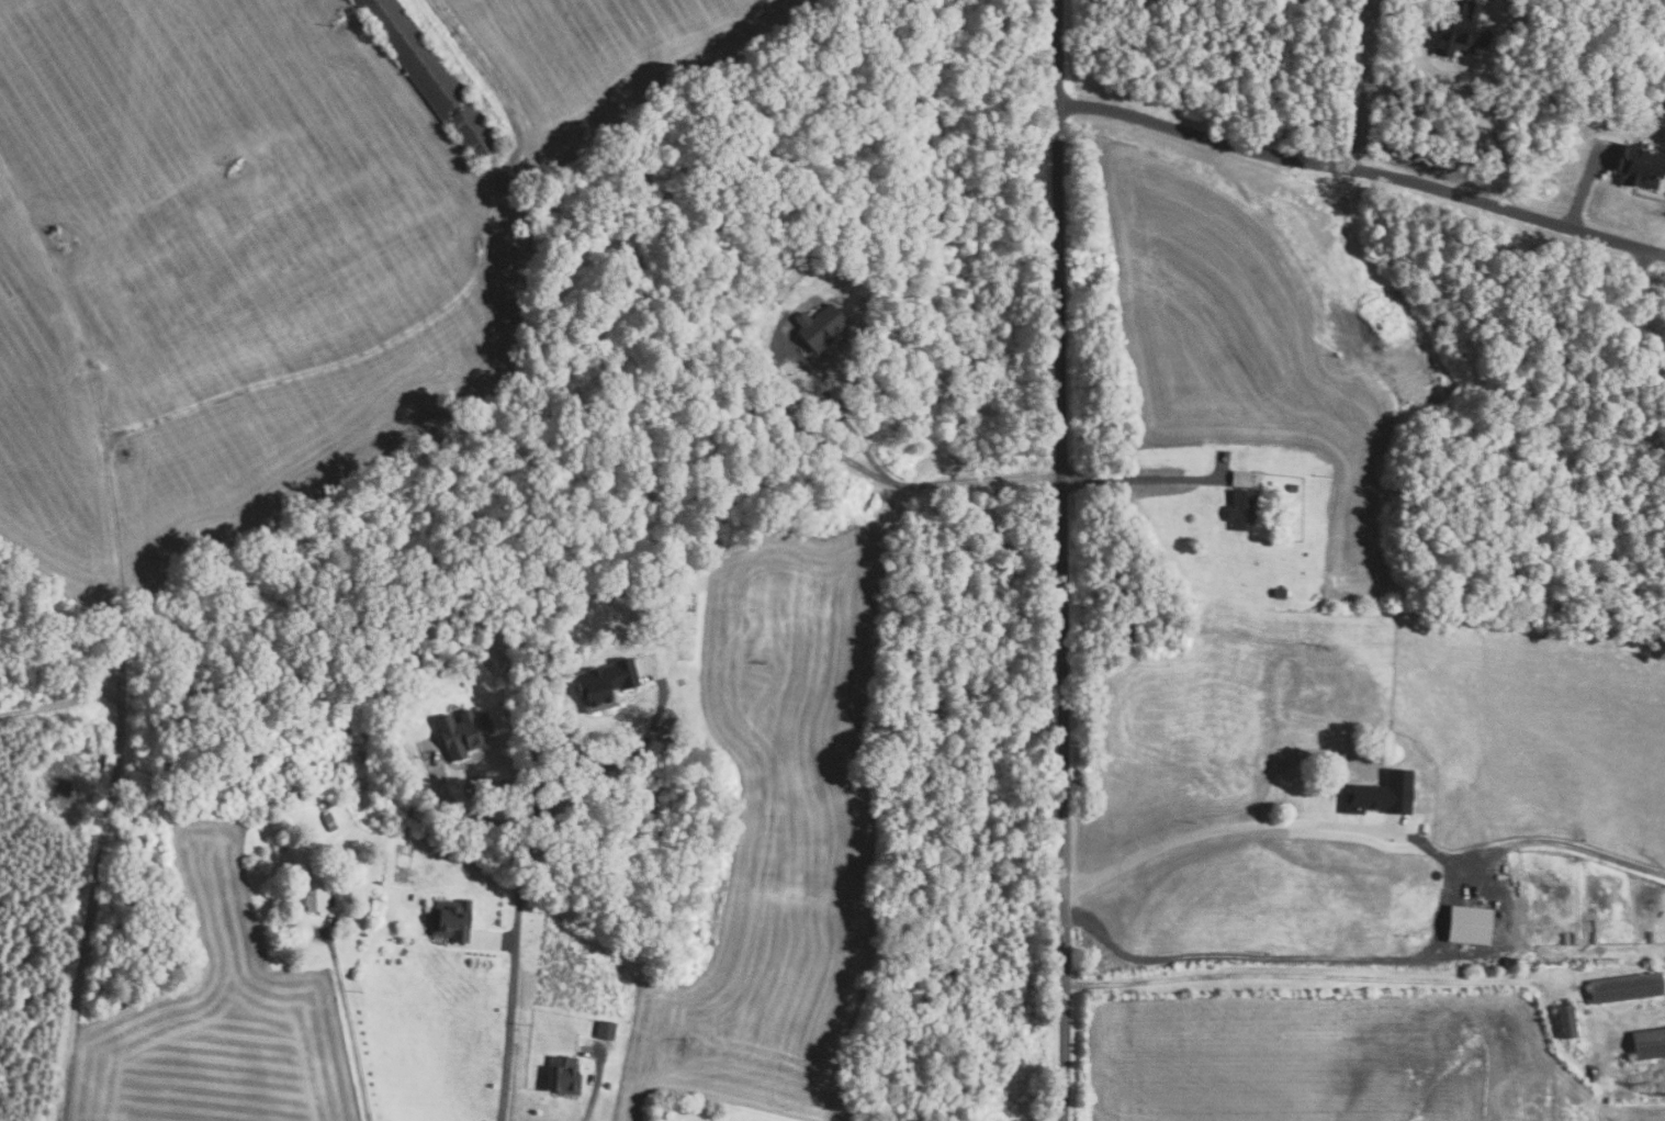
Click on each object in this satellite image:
building: (1459, 30)
crop: (606, 54)
building: (430, 76)
road: (1474, 108)
building: (1643, 166)
road: (1359, 171)
road: (1662, 244)
road: (1662, 253)
crop: (223, 281)
building: (820, 327)
crop: (1260, 339)
road: (340, 362)
road: (97, 412)
building: (1240, 478)
road: (1139, 479)
road: (900, 484)
building: (1292, 487)
building: (1240, 511)
road: (1061, 560)
building: (1280, 593)
building: (651, 626)
building: (1271, 668)
building: (437, 669)
building: (1303, 680)
building: (604, 684)
building: (397, 700)
road: (60, 702)
building: (1298, 710)
crop: (1399, 716)
building: (462, 733)
road: (606, 767)
building: (289, 788)
building: (1384, 793)
road: (458, 806)
building: (328, 821)
building: (1422, 827)
crop: (780, 834)
road: (1552, 842)
building: (452, 852)
building: (313, 893)
road: (1447, 899)
road: (91, 904)
building: (450, 920)
building: (1469, 922)
building: (350, 928)
road: (496, 942)
road: (513, 974)
building: (1625, 986)
crop: (217, 1017)
building: (1566, 1020)
road: (353, 1024)
building: (605, 1029)
building: (1649, 1043)
crop: (1336, 1058)
building: (562, 1074)
road: (596, 1083)

